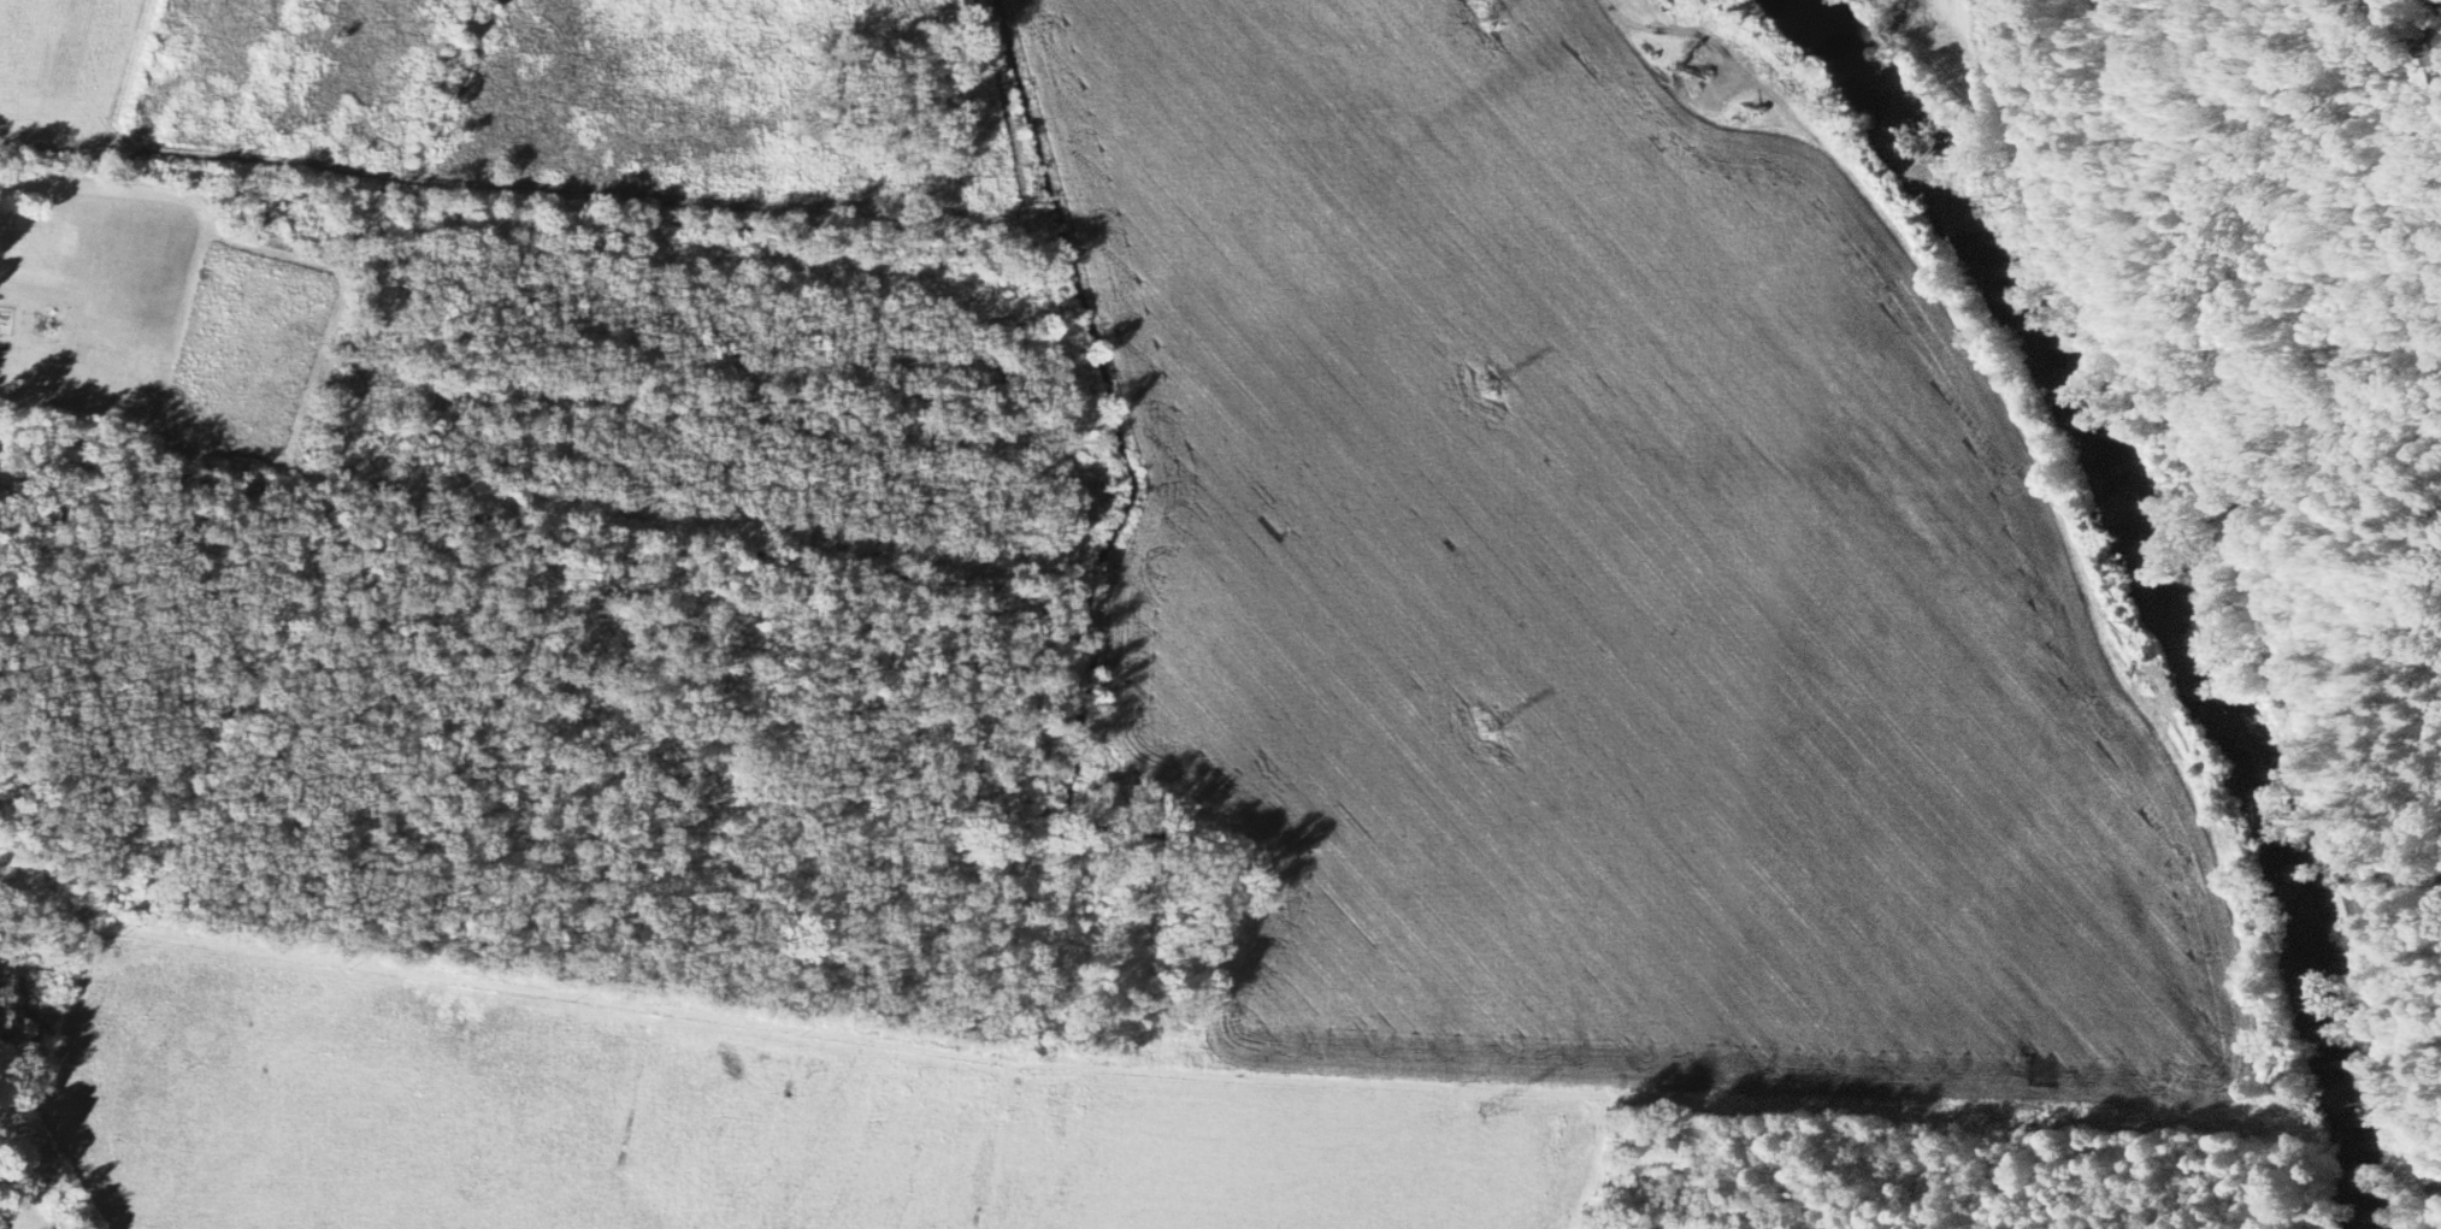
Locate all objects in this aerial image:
power tower: (1481, 17)
road: (1716, 40)
road: (176, 234)
power tower: (1479, 385)
road: (66, 407)
road: (609, 514)
river: (2166, 572)
road: (2252, 574)
road: (2372, 710)
power tower: (1481, 727)
road: (2398, 886)
power tower: (1485, 1106)

